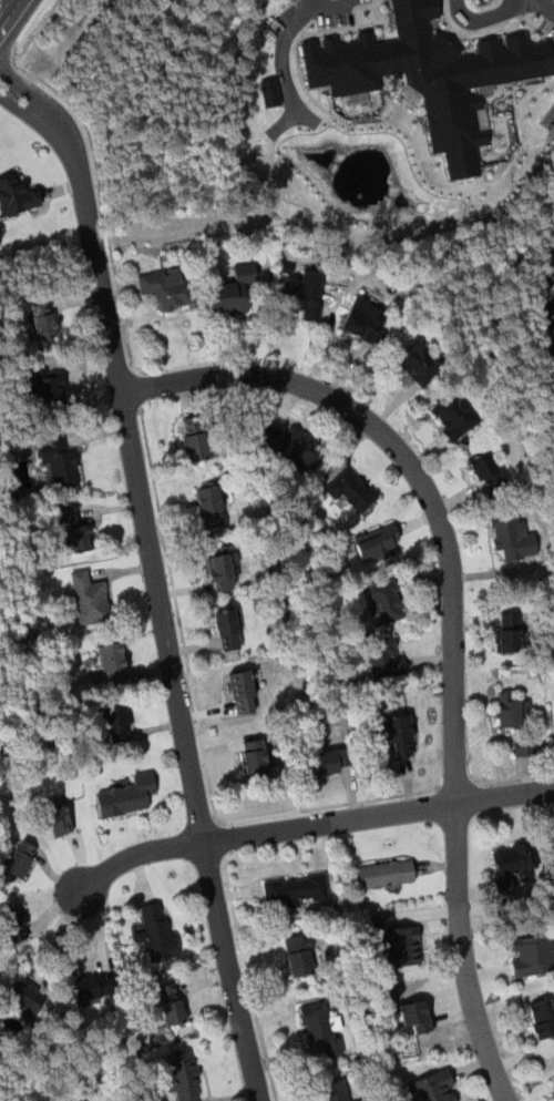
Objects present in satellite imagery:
road: (326, 3)
road: (545, 6)
parking lot: (335, 11)
road: (489, 17)
parking lot: (548, 18)
road: (16, 22)
road: (380, 22)
road: (493, 27)
road: (453, 33)
road: (283, 53)
road: (10, 70)
building: (429, 75)
road: (507, 84)
road: (304, 85)
building: (270, 92)
road: (350, 98)
road: (516, 100)
road: (307, 116)
road: (500, 116)
road: (551, 116)
road: (285, 123)
road: (522, 140)
road: (502, 149)
road: (96, 165)
road: (421, 173)
building: (14, 194)
building: (548, 274)
building: (167, 288)
building: (234, 289)
building: (304, 294)
building: (547, 310)
building: (43, 319)
building: (367, 319)
building: (419, 361)
road: (136, 388)
building: (51, 389)
building: (453, 415)
building: (194, 439)
building: (287, 442)
building: (59, 460)
building: (485, 470)
building: (350, 489)
building: (211, 506)
building: (64, 511)
building: (80, 537)
building: (512, 537)
building: (376, 542)
building: (220, 570)
road: (155, 574)
building: (89, 598)
building: (384, 601)
road: (178, 614)
road: (454, 621)
building: (228, 629)
building: (509, 632)
building: (386, 656)
building: (112, 663)
building: (244, 691)
building: (509, 711)
building: (117, 722)
building: (396, 734)
building: (254, 756)
building: (331, 761)
road: (514, 777)
road: (454, 786)
building: (127, 795)
road: (330, 805)
building: (59, 820)
road: (310, 824)
road: (222, 839)
building: (552, 848)
building: (20, 858)
building: (512, 865)
building: (387, 874)
building: (296, 889)
building: (13, 924)
building: (156, 930)
building: (402, 946)
building: (299, 954)
building: (532, 955)
road: (248, 979)
building: (93, 988)
building: (25, 996)
building: (171, 1003)
building: (414, 1015)
building: (542, 1017)
building: (322, 1028)
building: (184, 1077)
building: (552, 1084)
building: (433, 1087)
building: (334, 1091)
building: (71, 1100)
building: (359, 1100)

